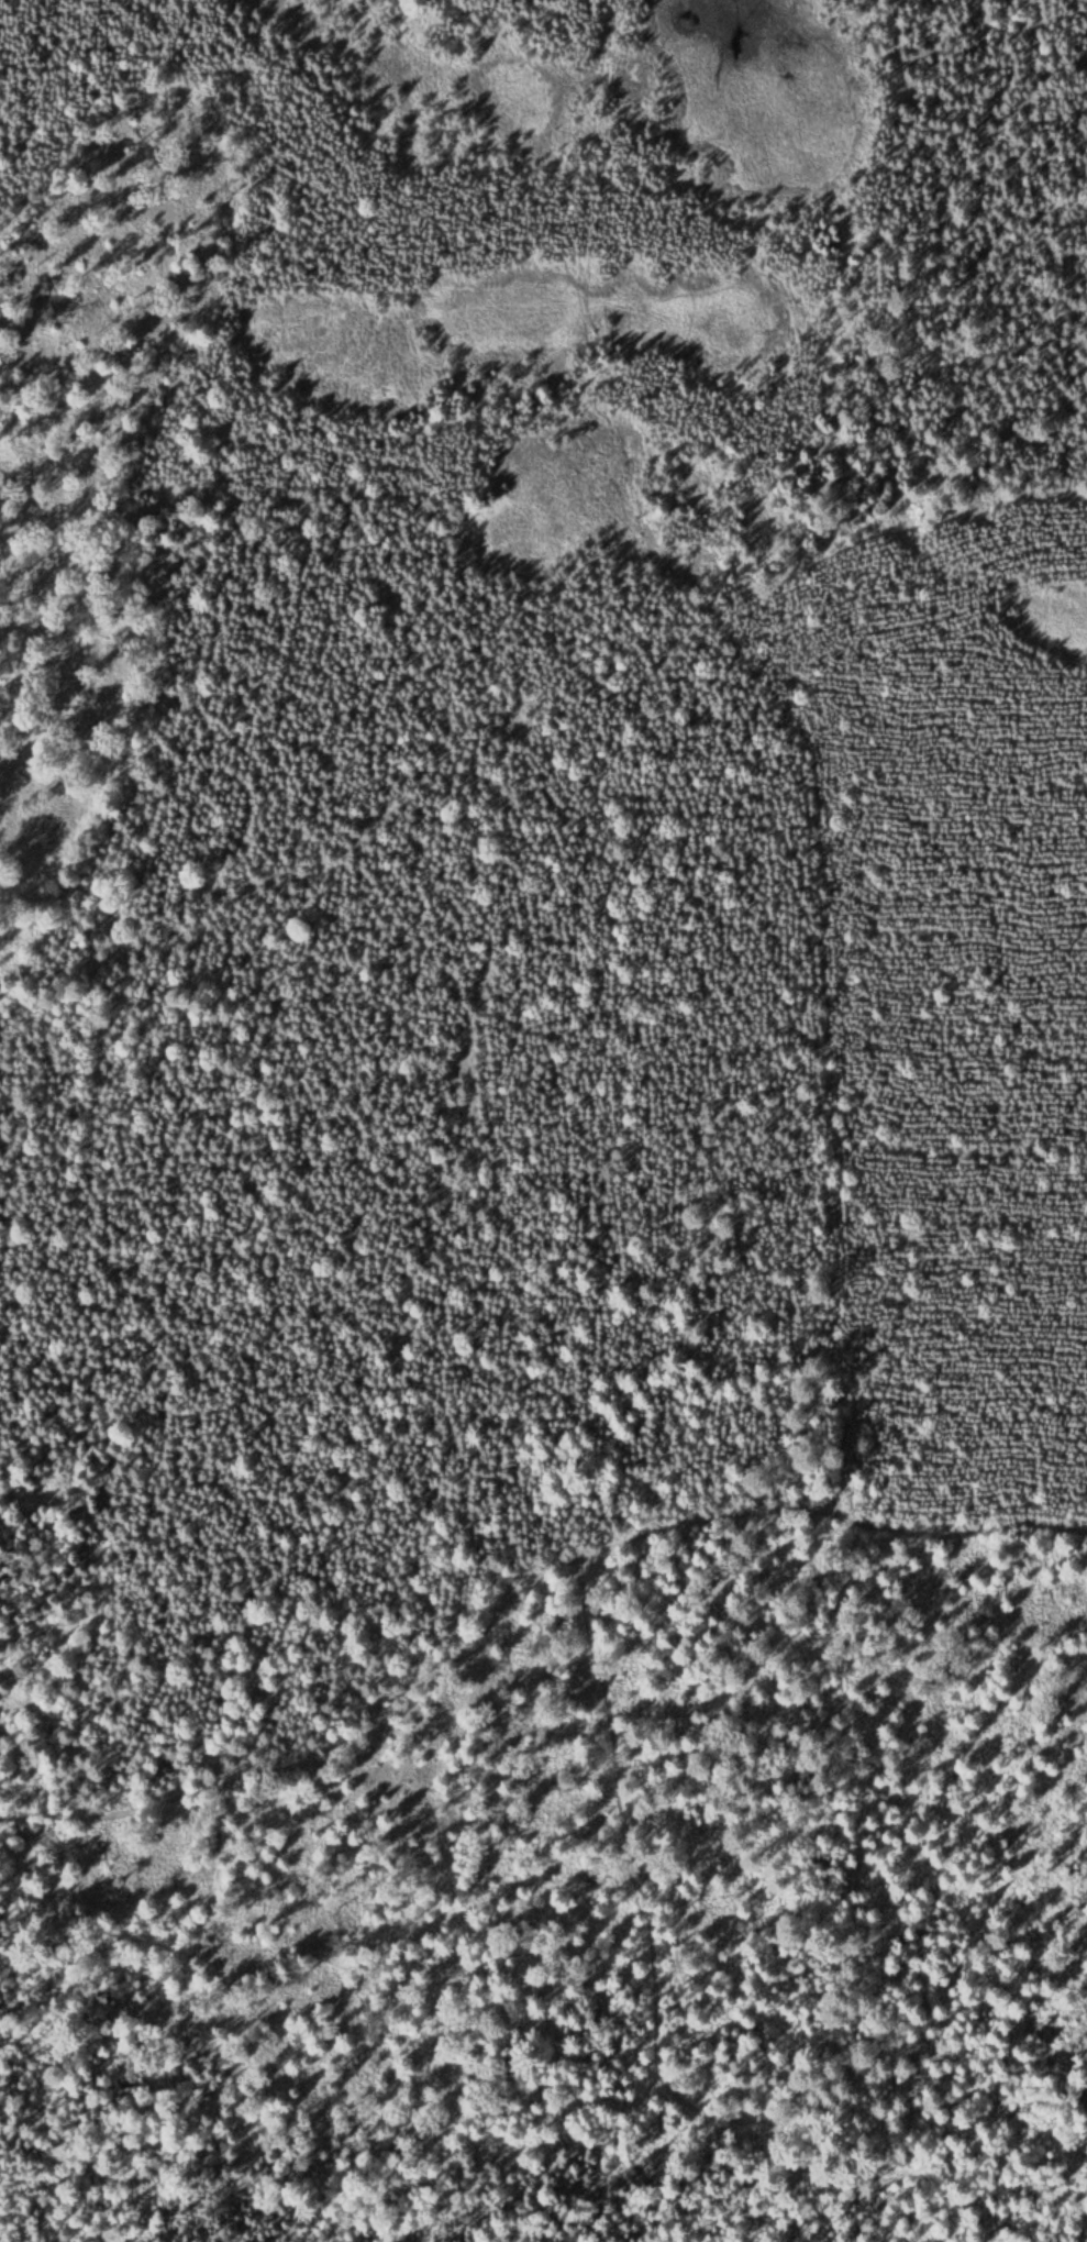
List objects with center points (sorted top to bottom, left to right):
road: (534, 1576)

